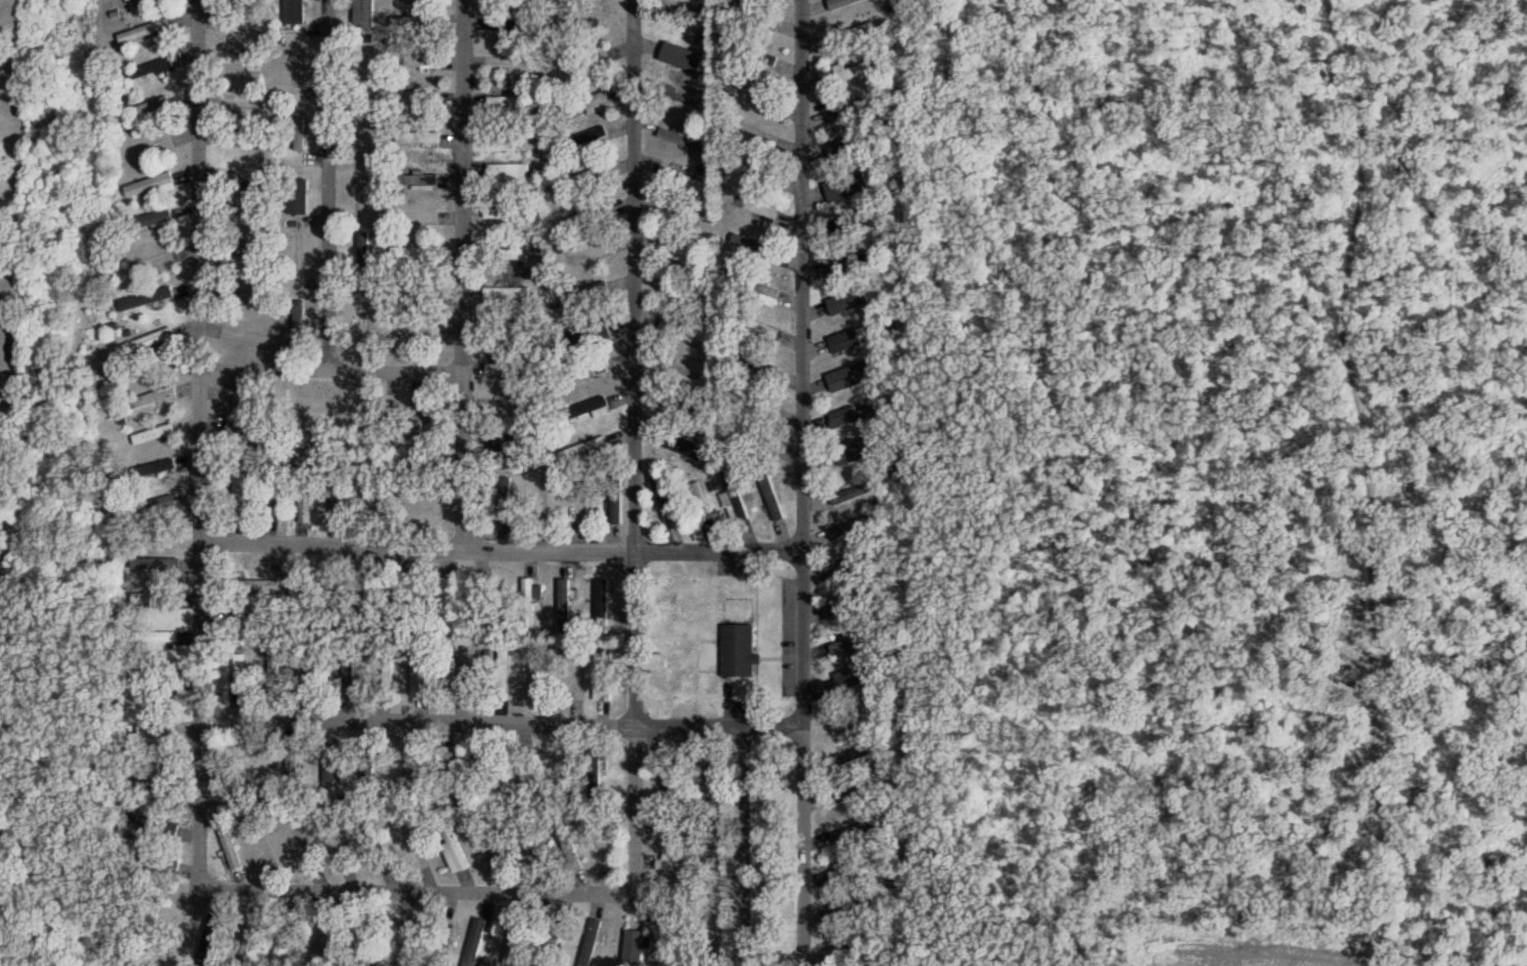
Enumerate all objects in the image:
building: (127, 0)
building: (146, 0)
building: (257, 0)
building: (840, 3)
building: (755, 16)
building: (414, 21)
building: (510, 25)
building: (143, 31)
building: (240, 31)
building: (851, 35)
building: (679, 60)
building: (587, 61)
building: (421, 62)
building: (148, 69)
building: (848, 73)
building: (415, 97)
building: (682, 100)
building: (505, 101)
building: (586, 104)
building: (151, 106)
building: (839, 114)
building: (755, 131)
building: (298, 132)
building: (362, 132)
building: (593, 135)
building: (504, 138)
building: (698, 145)
building: (851, 145)
building: (754, 169)
building: (502, 173)
building: (677, 174)
building: (588, 179)
building: (416, 180)
building: (228, 182)
building: (148, 184)
building: (250, 186)
road: (327, 186)
building: (847, 187)
building: (362, 194)
building: (296, 195)
building: (754, 208)
building: (507, 214)
building: (584, 218)
building: (148, 220)
building: (241, 223)
building: (753, 246)
building: (678, 253)
building: (363, 256)
building: (416, 256)
building: (239, 260)
building: (148, 261)
building: (859, 263)
road: (462, 276)
building: (758, 288)
building: (584, 294)
building: (244, 300)
building: (847, 301)
building: (297, 324)
building: (756, 326)
building: (682, 332)
building: (852, 340)
building: (146, 341)
building: (241, 341)
building: (584, 371)
road: (330, 372)
building: (853, 379)
building: (150, 398)
building: (756, 405)
building: (681, 408)
building: (586, 410)
building: (416, 420)
building: (247, 434)
building: (757, 441)
road: (198, 443)
building: (685, 447)
road: (632, 448)
building: (580, 450)
building: (504, 451)
building: (851, 452)
building: (147, 470)
road: (801, 483)
building: (853, 493)
building: (336, 497)
building: (736, 499)
building: (771, 499)
building: (304, 500)
building: (615, 500)
building: (274, 501)
building: (663, 501)
building: (701, 502)
building: (157, 503)
building: (419, 503)
road: (500, 551)
building: (157, 565)
building: (251, 585)
building: (295, 589)
building: (367, 595)
building: (156, 600)
building: (441, 602)
building: (563, 604)
building: (527, 605)
building: (601, 606)
building: (840, 606)
building: (244, 620)
building: (852, 641)
building: (737, 651)
building: (272, 670)
building: (502, 674)
building: (235, 676)
building: (464, 677)
building: (603, 677)
building: (160, 678)
building: (579, 679)
building: (843, 682)
road: (501, 723)
building: (151, 735)
building: (242, 750)
building: (845, 752)
building: (445, 762)
building: (291, 763)
building: (558, 768)
building: (365, 769)
building: (407, 770)
building: (483, 770)
building: (522, 772)
building: (594, 774)
building: (702, 776)
building: (257, 781)
building: (854, 794)
building: (154, 825)
building: (675, 830)
building: (852, 832)
building: (227, 846)
building: (377, 846)
road: (741, 846)
building: (339, 847)
building: (607, 848)
building: (453, 850)
building: (570, 854)
building: (676, 864)
building: (852, 869)
road: (418, 893)
building: (842, 902)
building: (361, 937)
building: (245, 939)
building: (283, 939)
building: (321, 941)
building: (398, 942)
building: (474, 942)
building: (633, 947)

